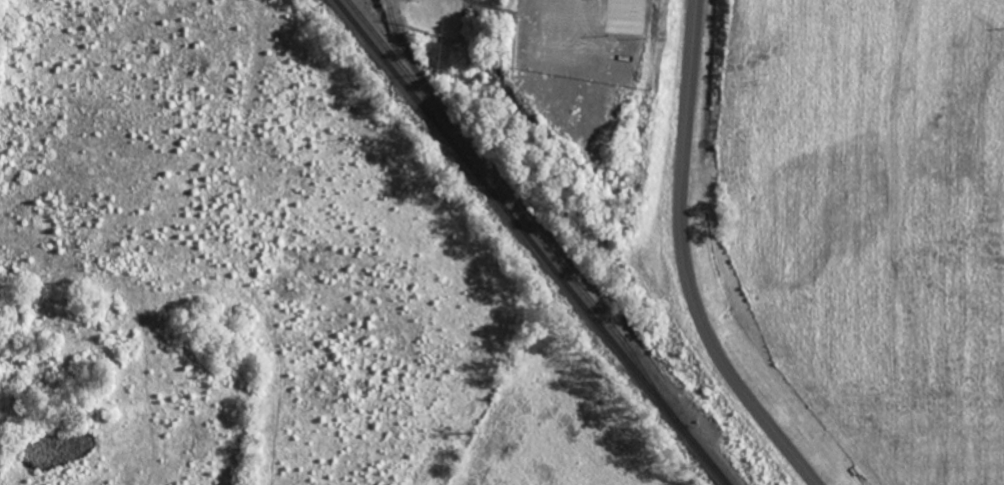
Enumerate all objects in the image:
road: (570, 45)
railway: (411, 64)
railway: (510, 199)
railway: (533, 242)
road: (688, 262)

